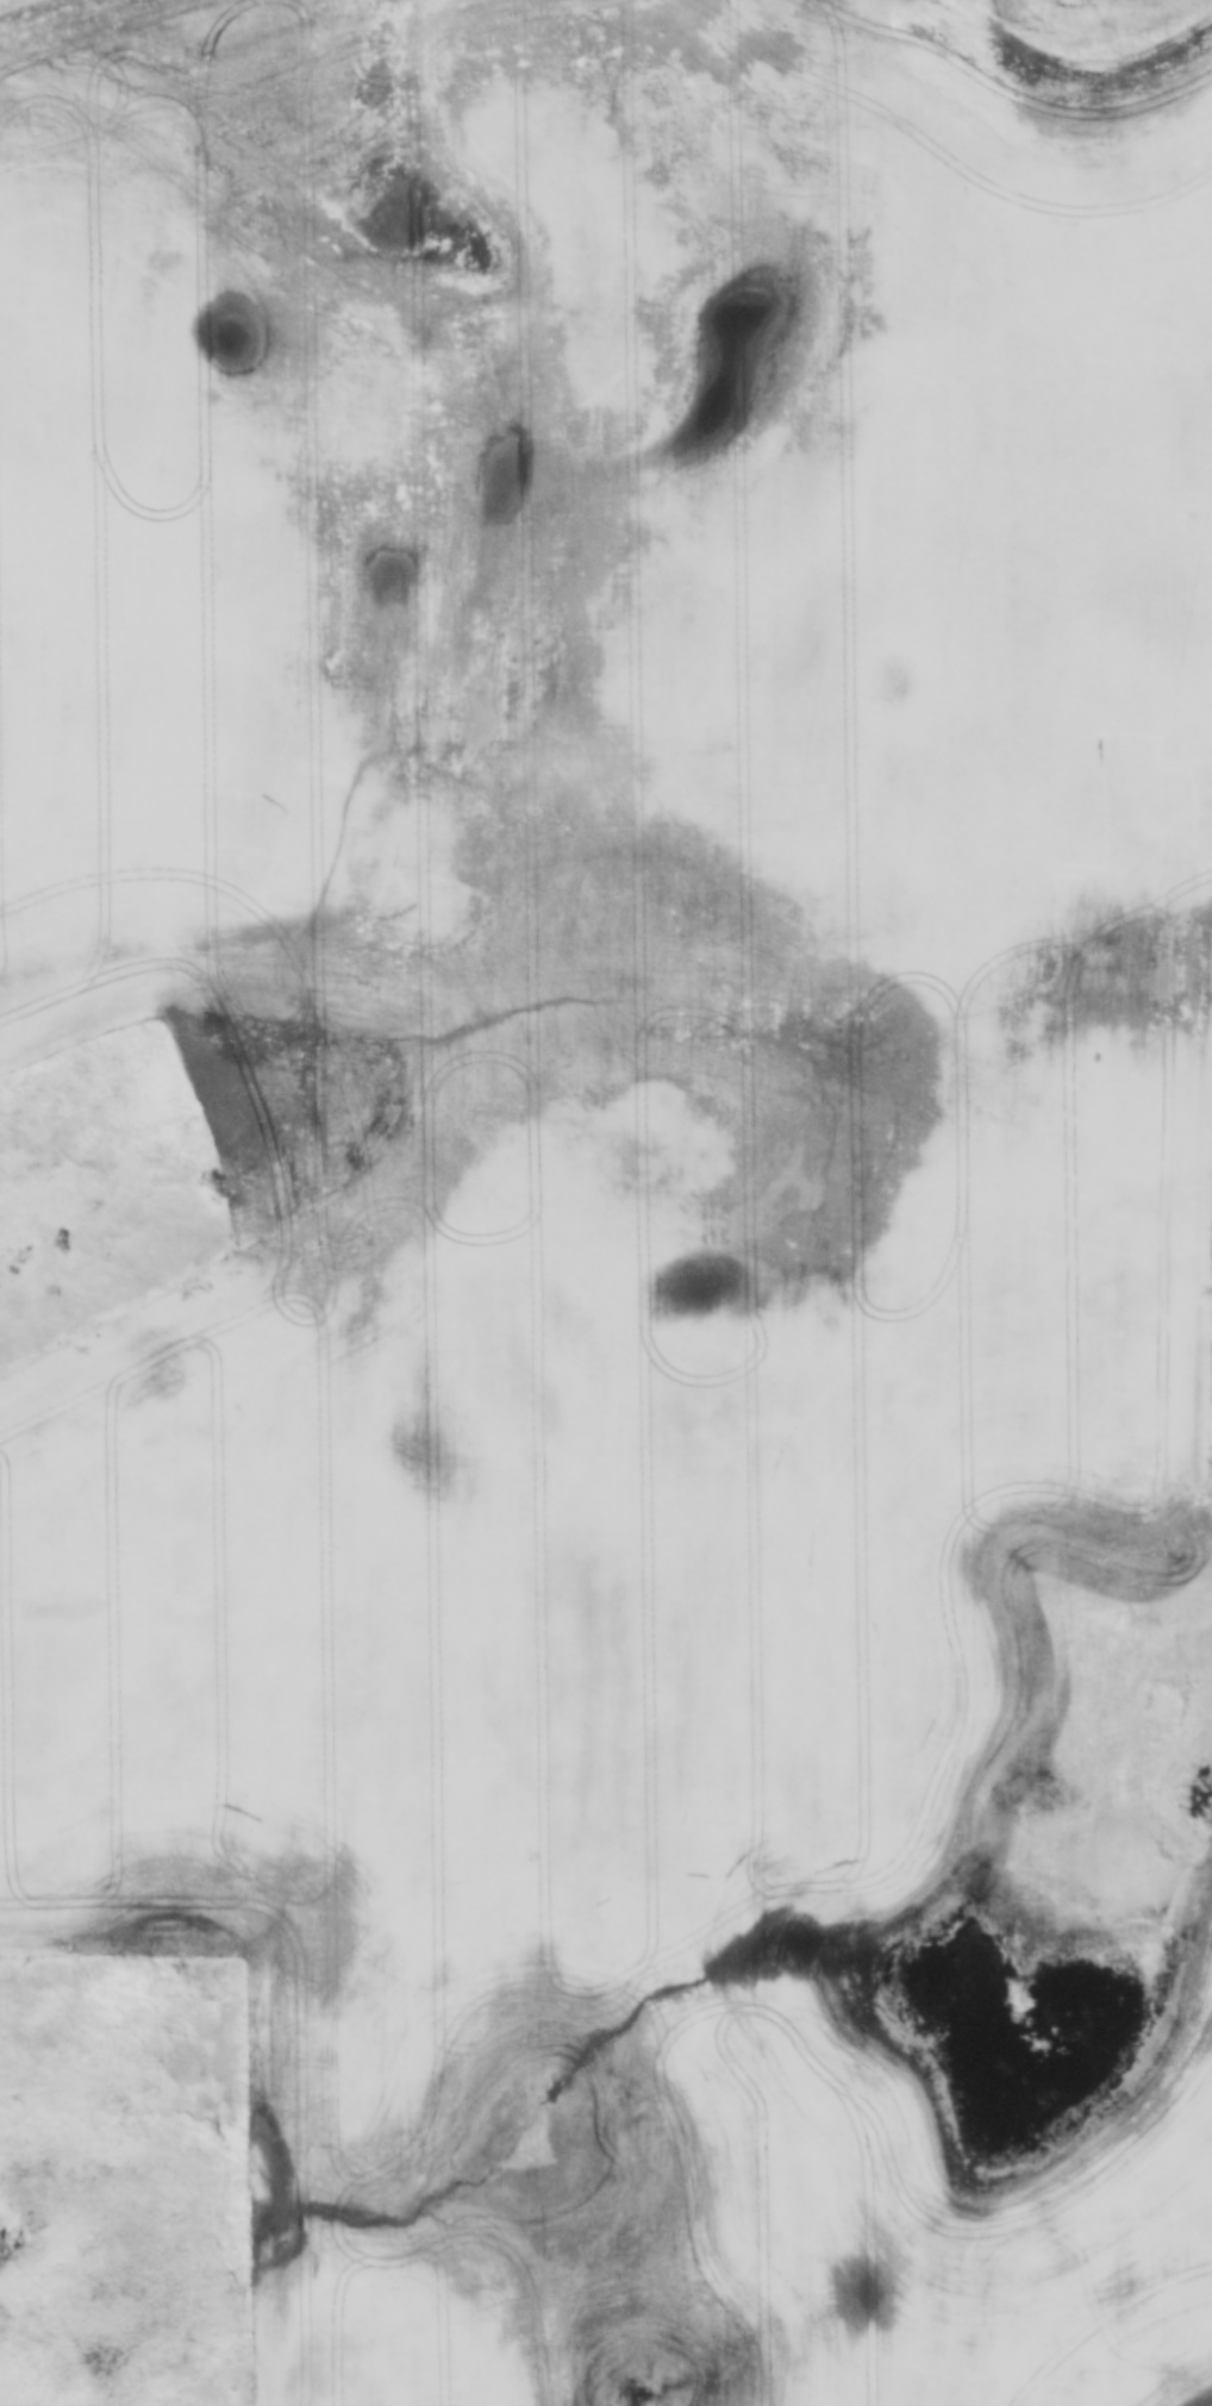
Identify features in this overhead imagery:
road: (516, 1202)

